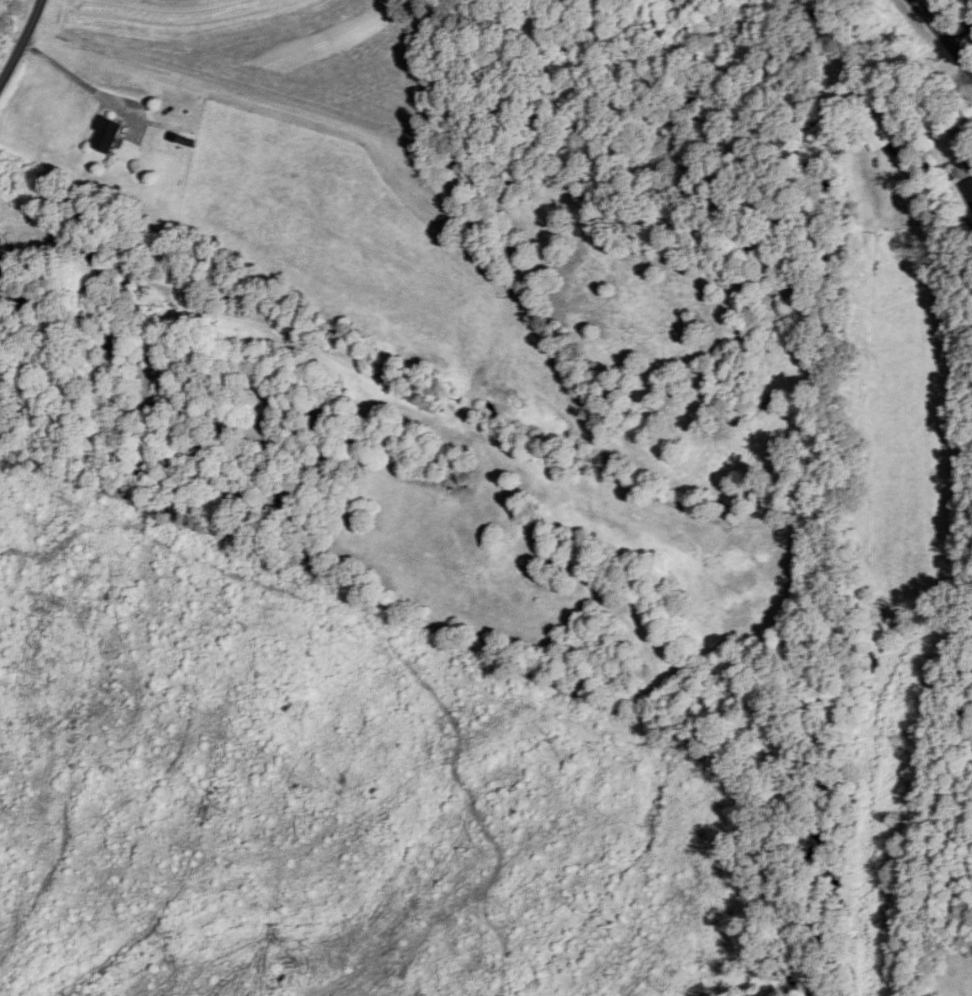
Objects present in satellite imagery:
road: (946, 9)
road: (942, 35)
road: (23, 44)
road: (68, 72)
building: (109, 134)
building: (968, 189)

